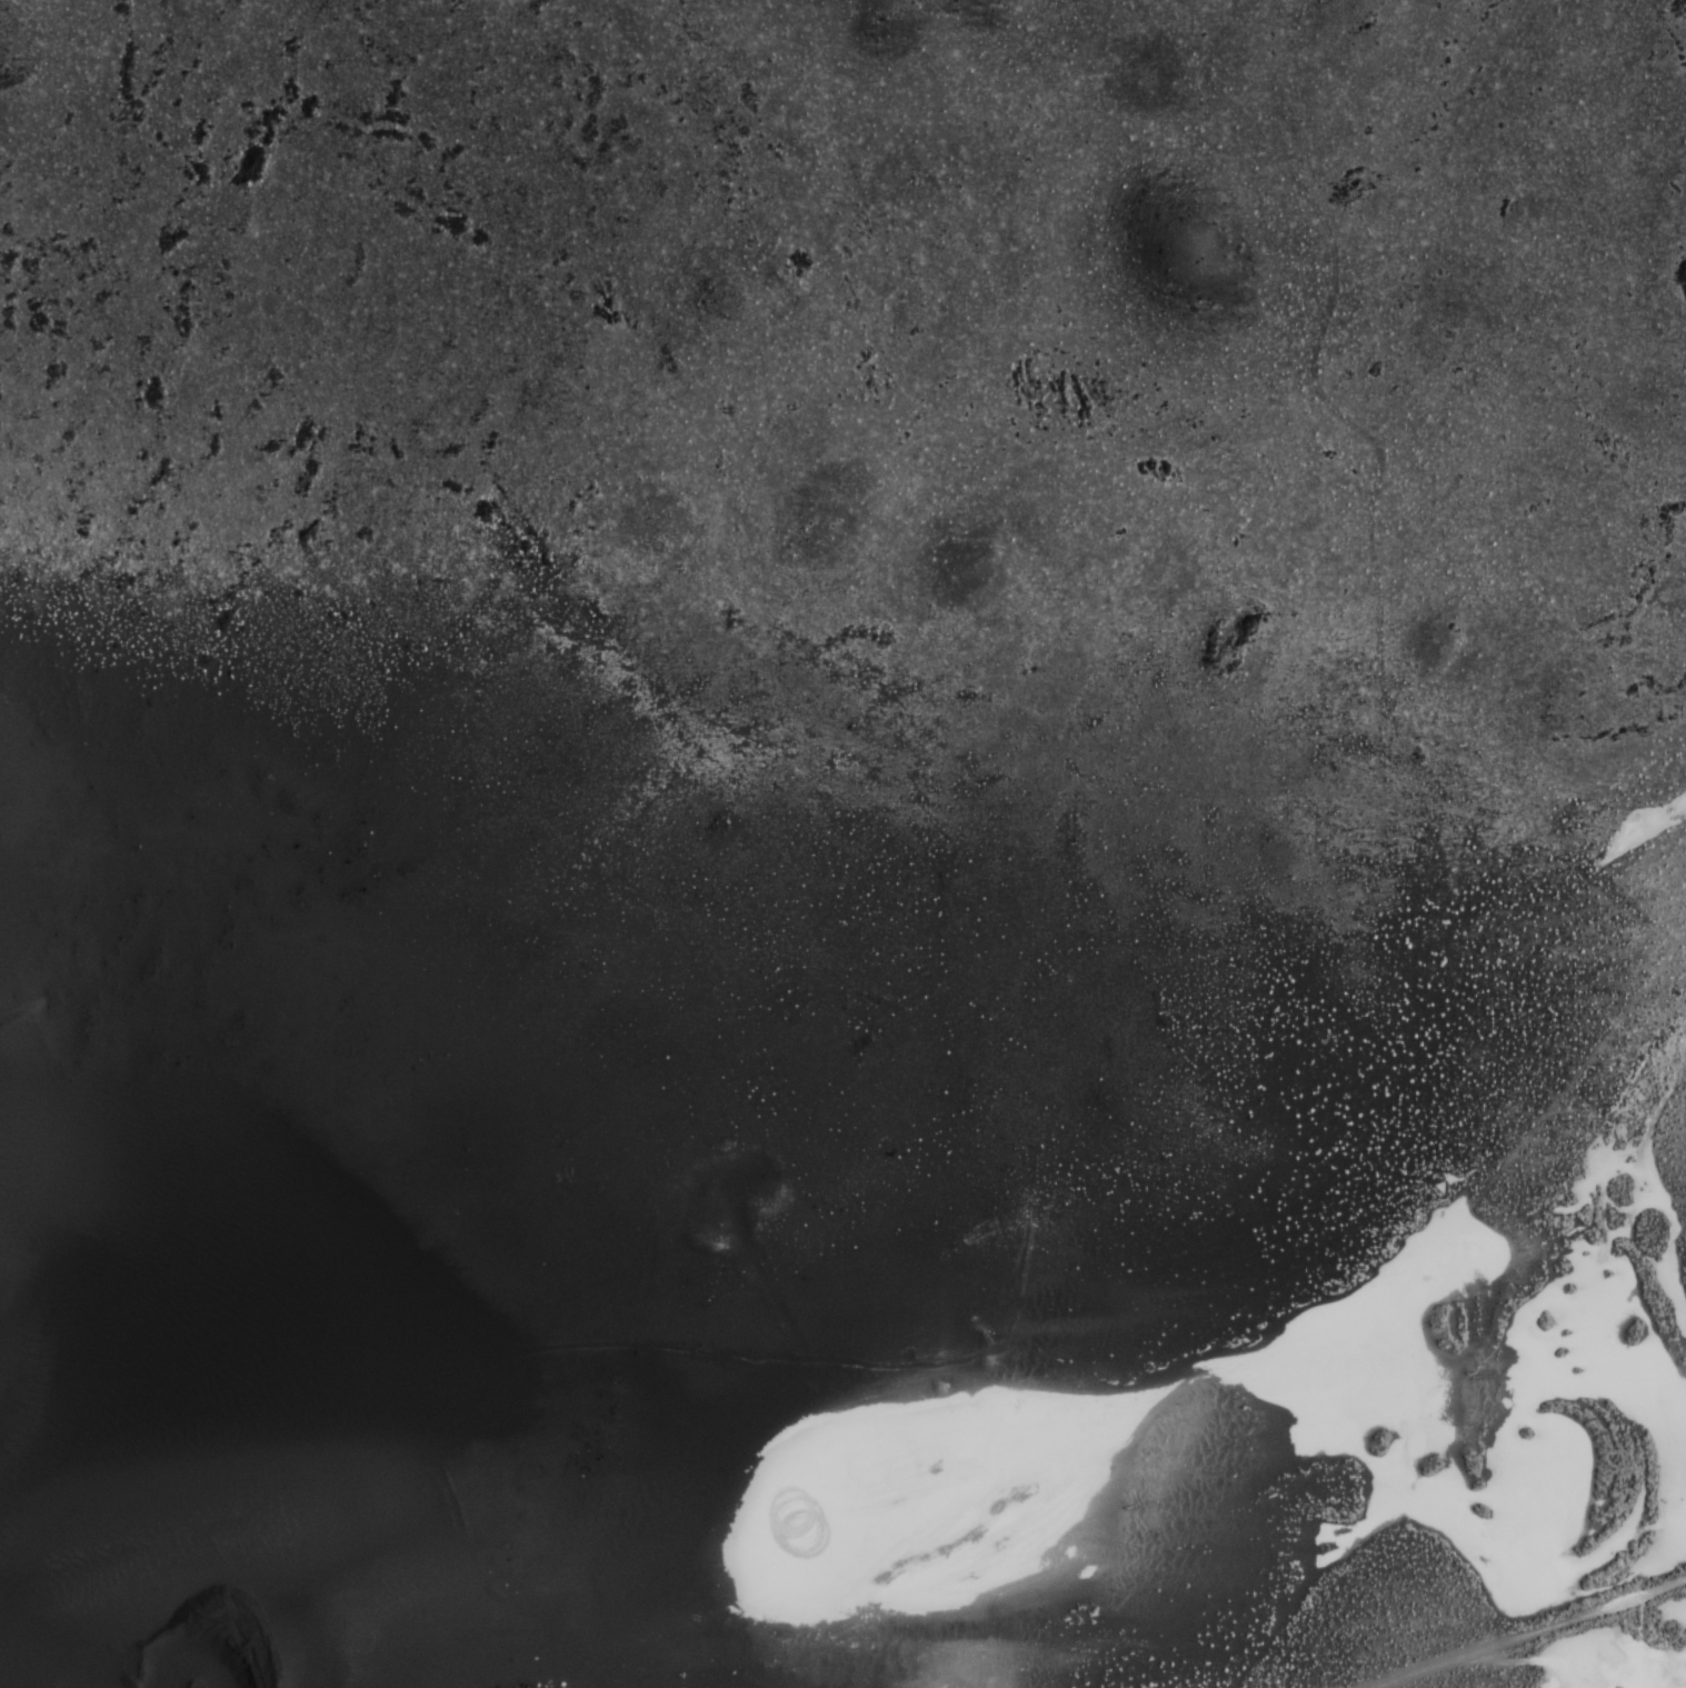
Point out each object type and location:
road: (1530, 1634)

